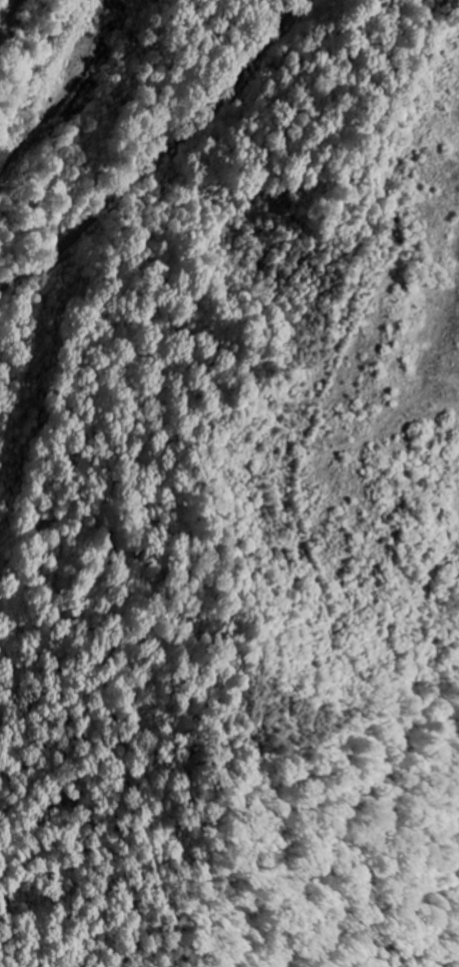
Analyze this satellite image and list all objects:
quarry: (233, 100)

